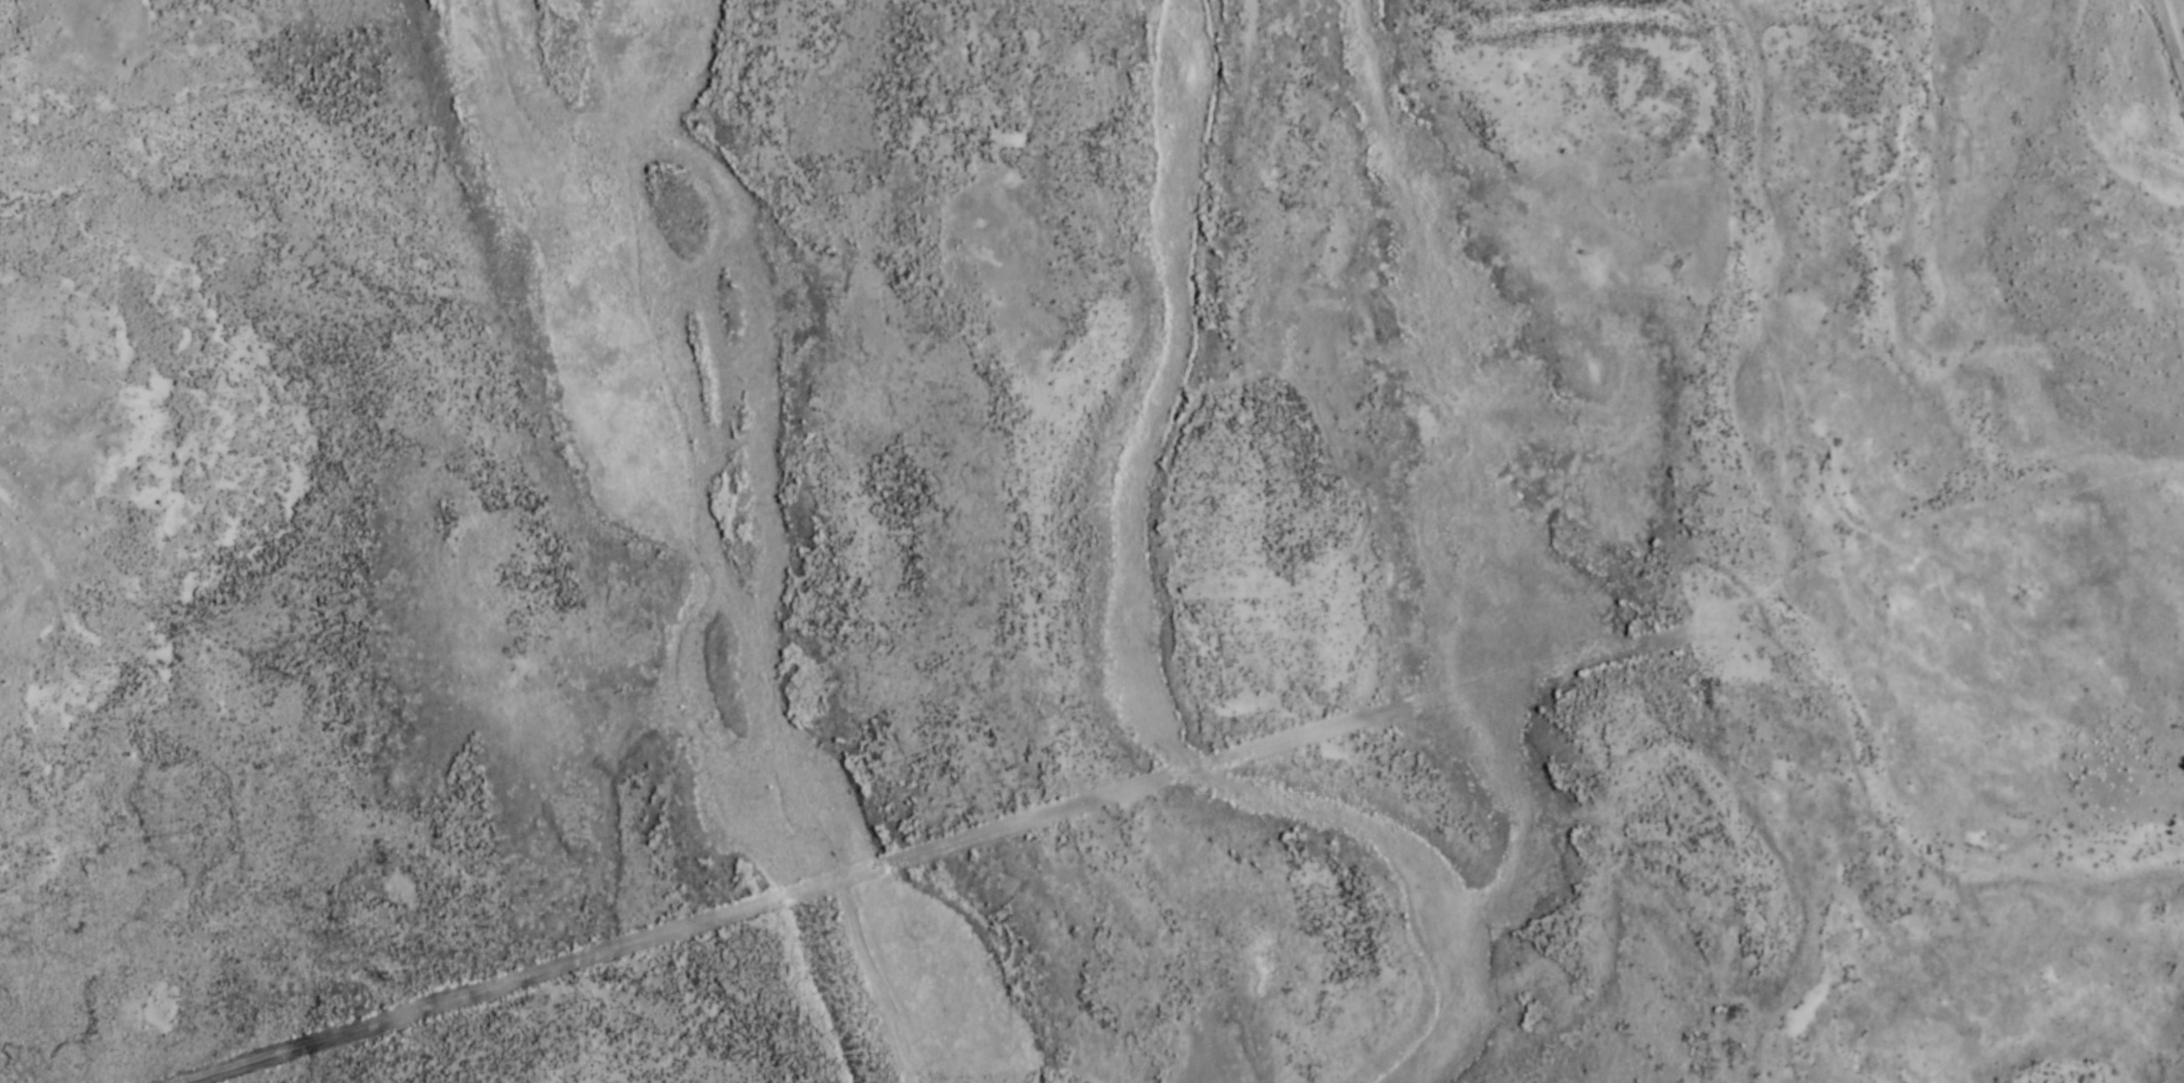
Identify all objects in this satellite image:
road: (2162, 64)

